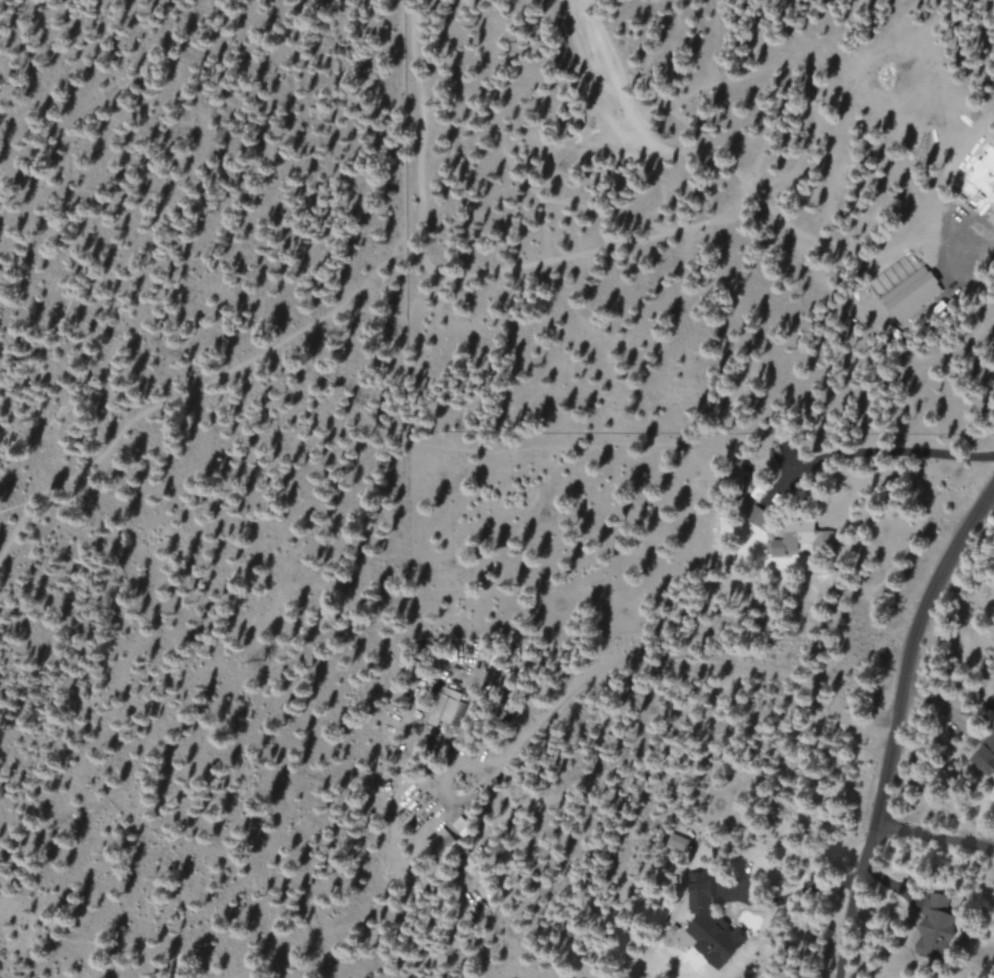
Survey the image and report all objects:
road: (476, 284)
building: (899, 295)
building: (758, 516)
building: (794, 542)
building: (443, 706)
road: (895, 724)
building: (986, 759)
road: (933, 836)
building: (443, 846)
building: (712, 924)

